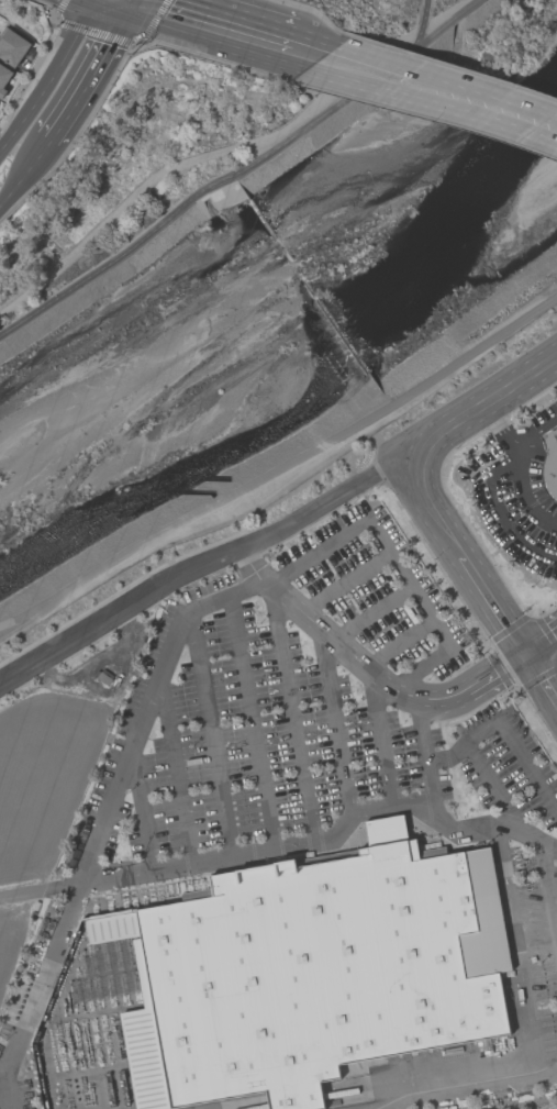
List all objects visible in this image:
road: (133, 0)
road: (135, 0)
traffic signals: (135, 1)
road: (161, 4)
road: (449, 21)
road: (212, 24)
building: (12, 45)
road: (309, 52)
road: (94, 69)
road: (368, 69)
building: (3, 78)
road: (51, 79)
river: (552, 82)
road: (483, 104)
river: (530, 117)
road: (51, 143)
road: (226, 151)
park: (144, 165)
road: (24, 178)
road: (231, 180)
river: (276, 343)
road: (483, 399)
road: (535, 432)
building: (550, 463)
road: (519, 467)
road: (278, 469)
road: (499, 517)
road: (463, 557)
road: (205, 564)
road: (344, 585)
road: (200, 607)
road: (370, 613)
road: (539, 636)
road: (398, 645)
road: (542, 650)
road: (368, 674)
road: (542, 677)
building: (104, 679)
road: (290, 716)
road: (253, 723)
road: (336, 729)
road: (504, 730)
road: (211, 735)
road: (426, 761)
crop: (53, 770)
road: (172, 774)
road: (493, 786)
road: (144, 809)
road: (327, 843)
road: (548, 888)
road: (38, 891)
building: (324, 968)
road: (522, 1078)
road: (439, 1093)

